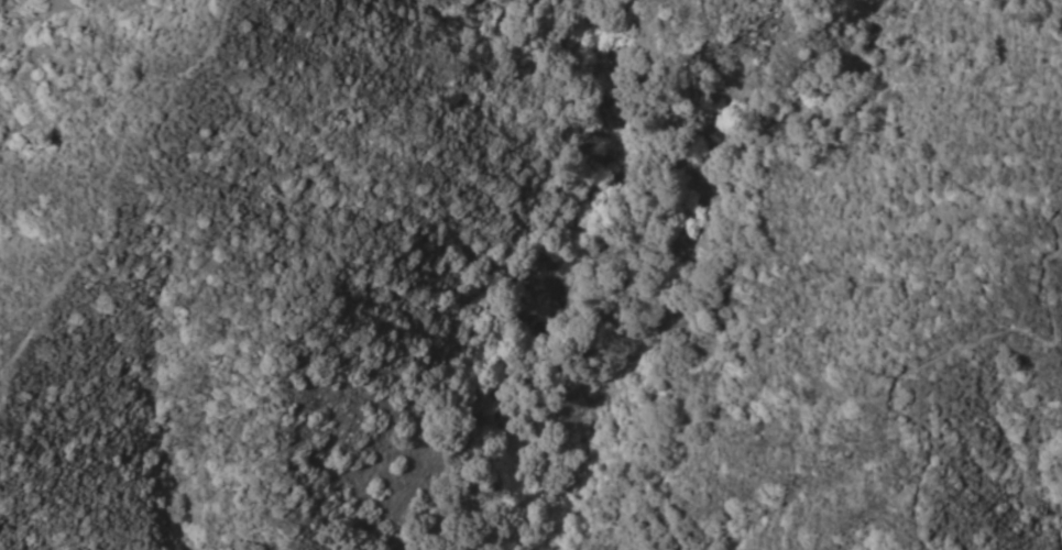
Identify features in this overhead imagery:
park: (502, 275)
road: (940, 352)

